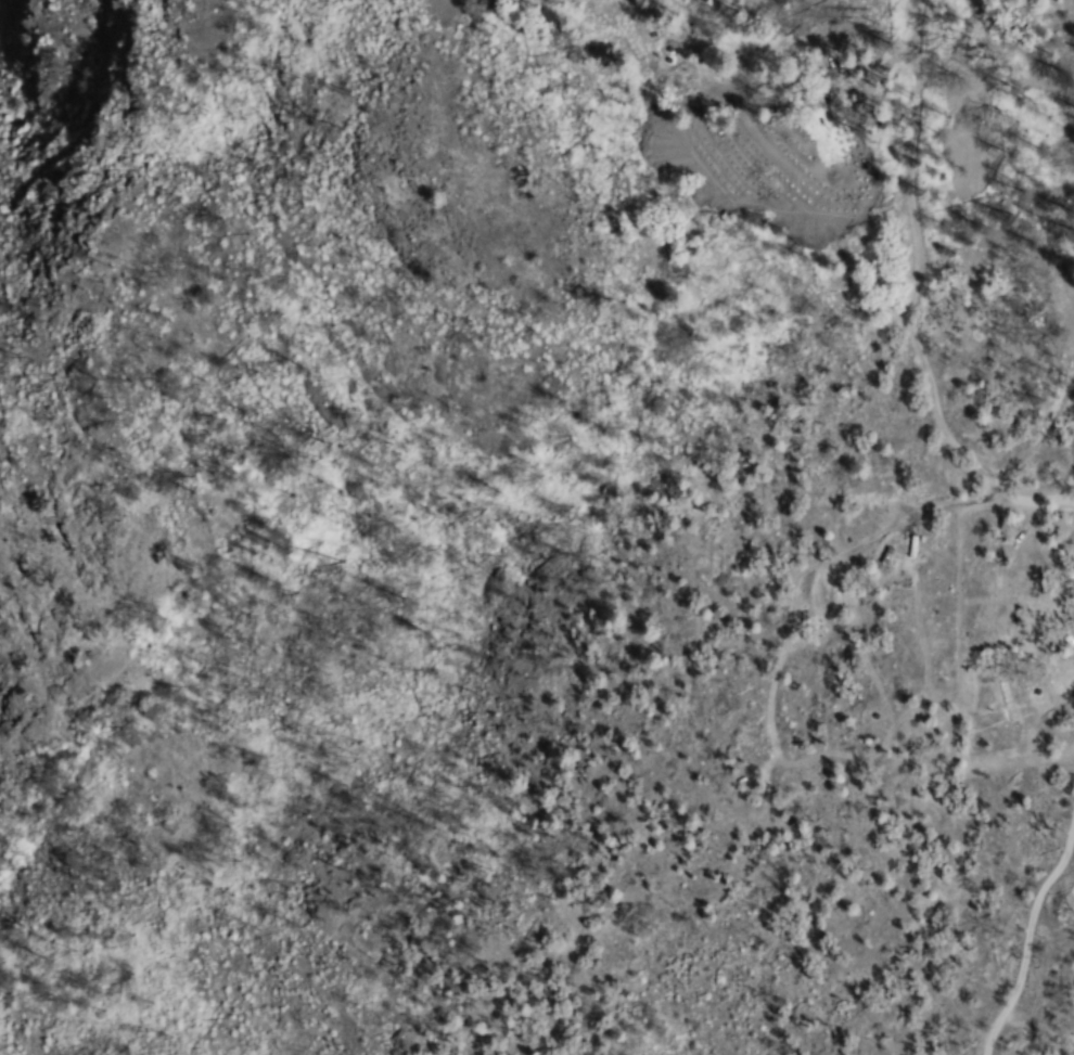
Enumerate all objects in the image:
road: (1057, 243)
road: (1025, 934)

